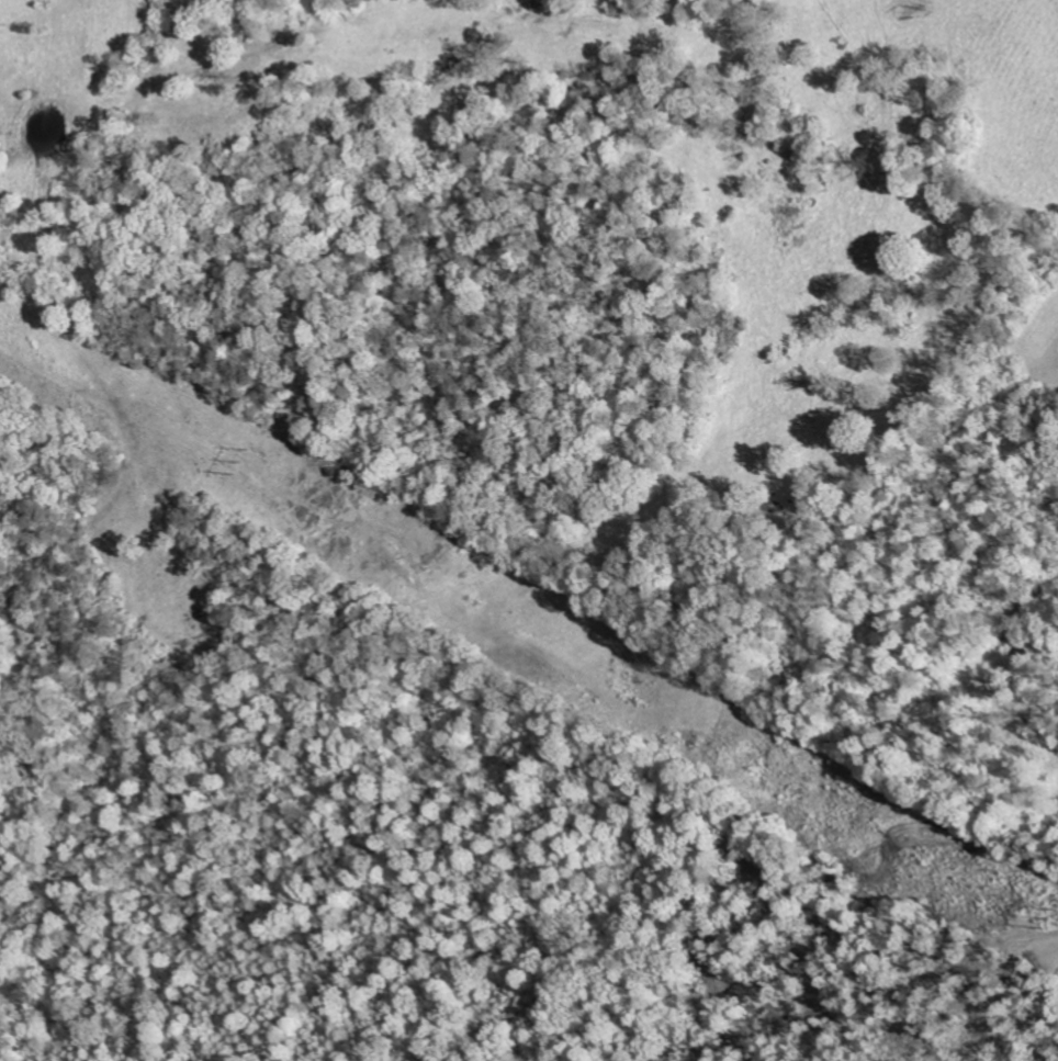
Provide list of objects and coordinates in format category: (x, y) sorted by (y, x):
power tower: (245, 458)

